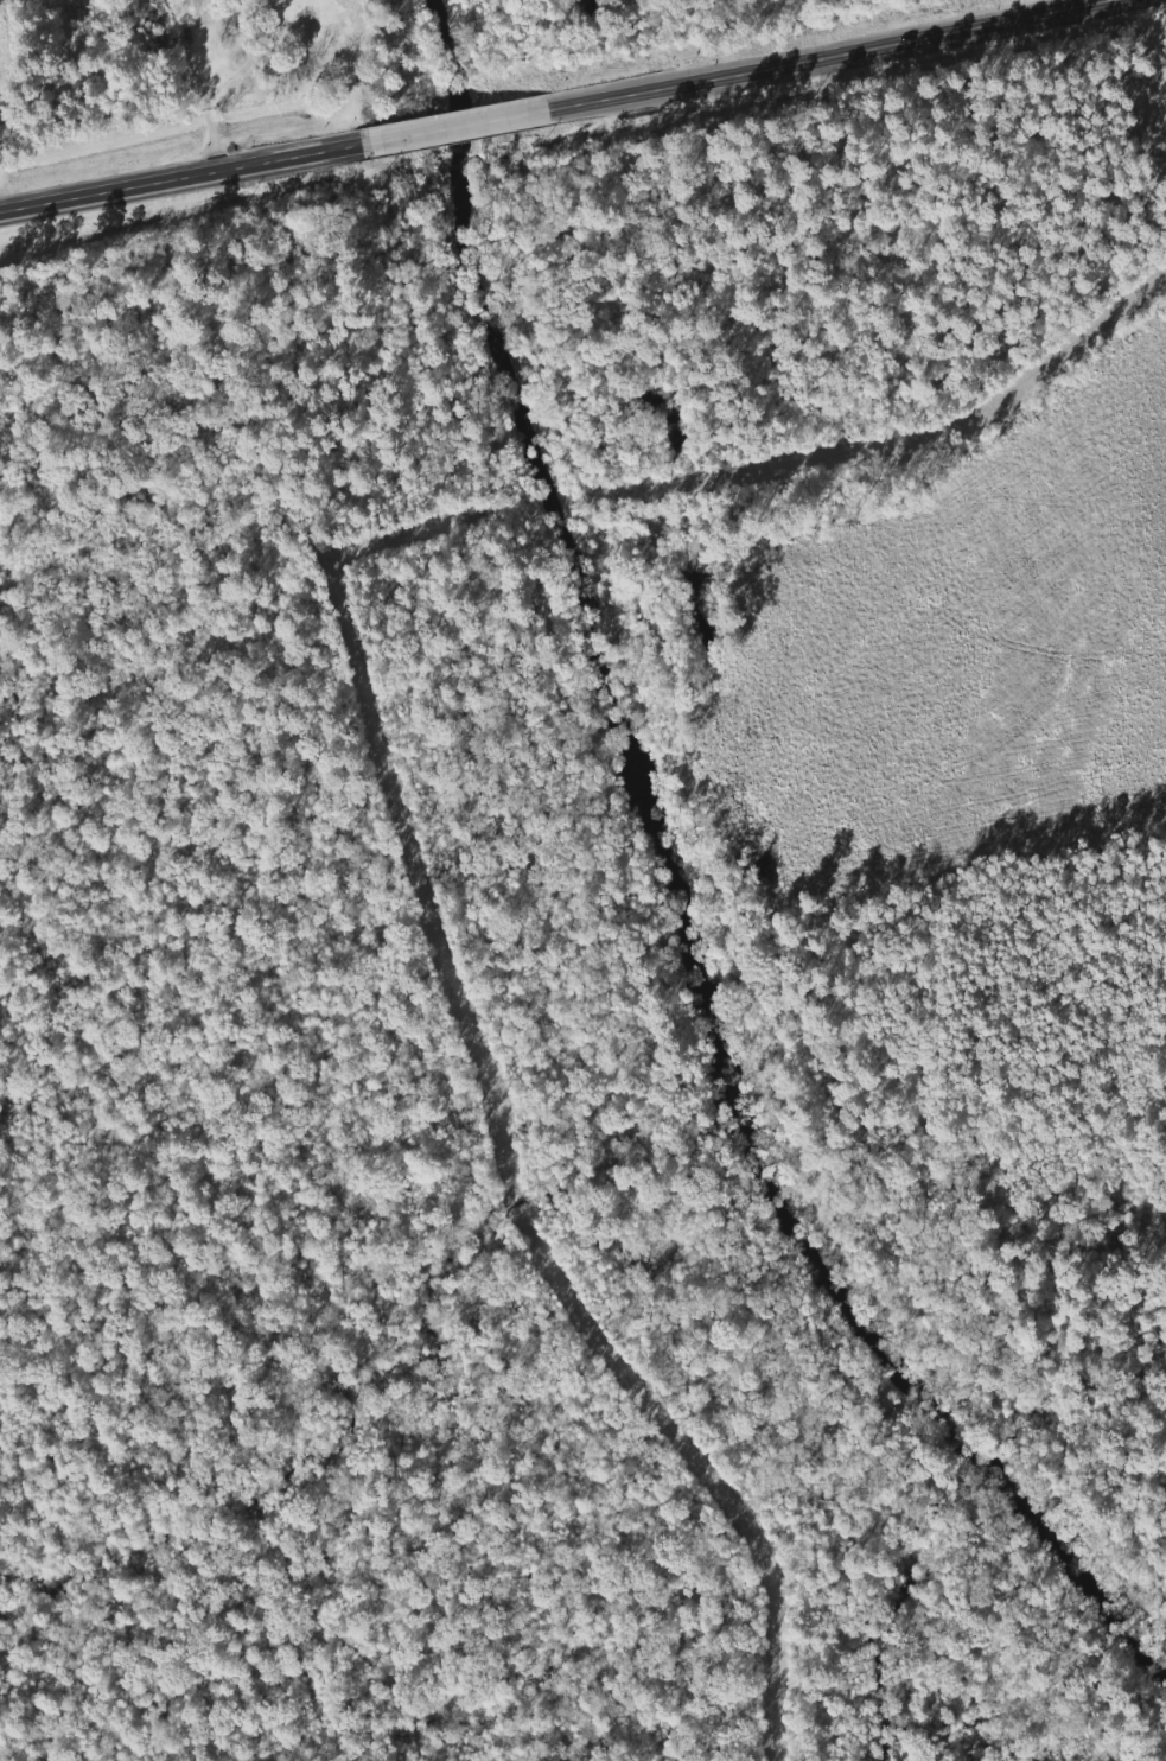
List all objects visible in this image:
road: (782, 64)
road: (211, 110)
road: (231, 173)

